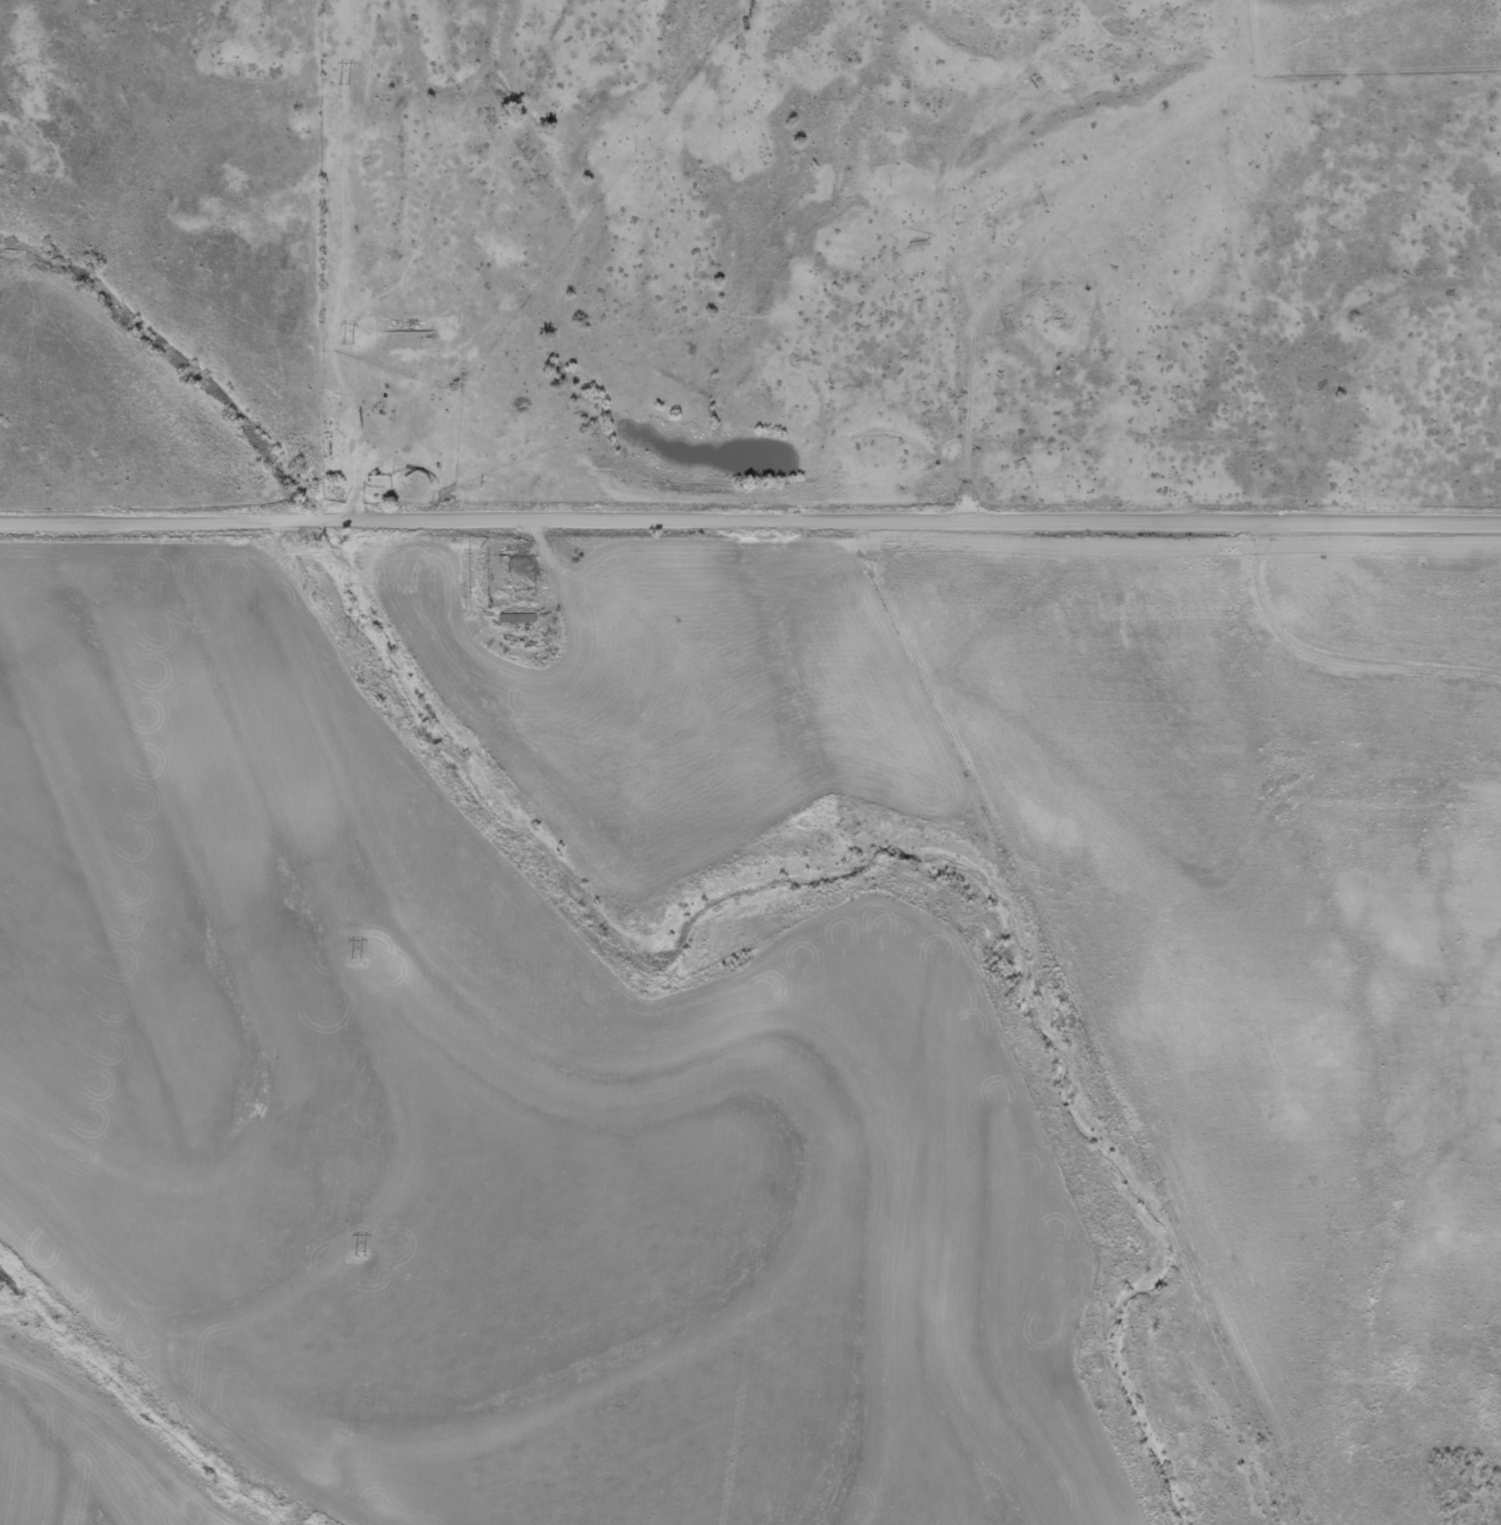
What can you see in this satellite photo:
power tower: (344, 83)
power tower: (347, 342)
road: (750, 517)
building: (521, 568)
power tower: (351, 636)
road: (1336, 651)
power tower: (355, 964)
power tower: (360, 1254)

